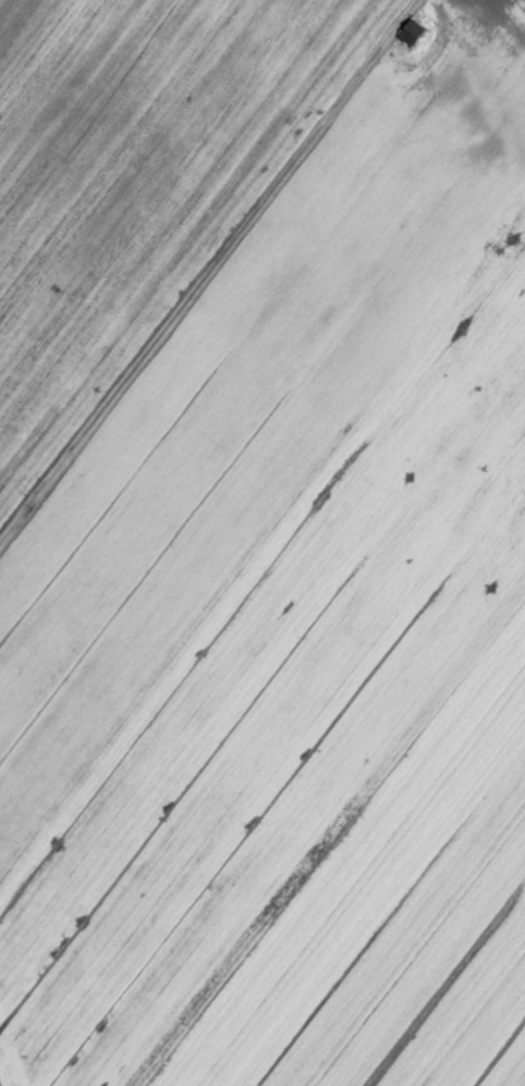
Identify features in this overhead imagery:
building: (408, 31)
road: (207, 268)

